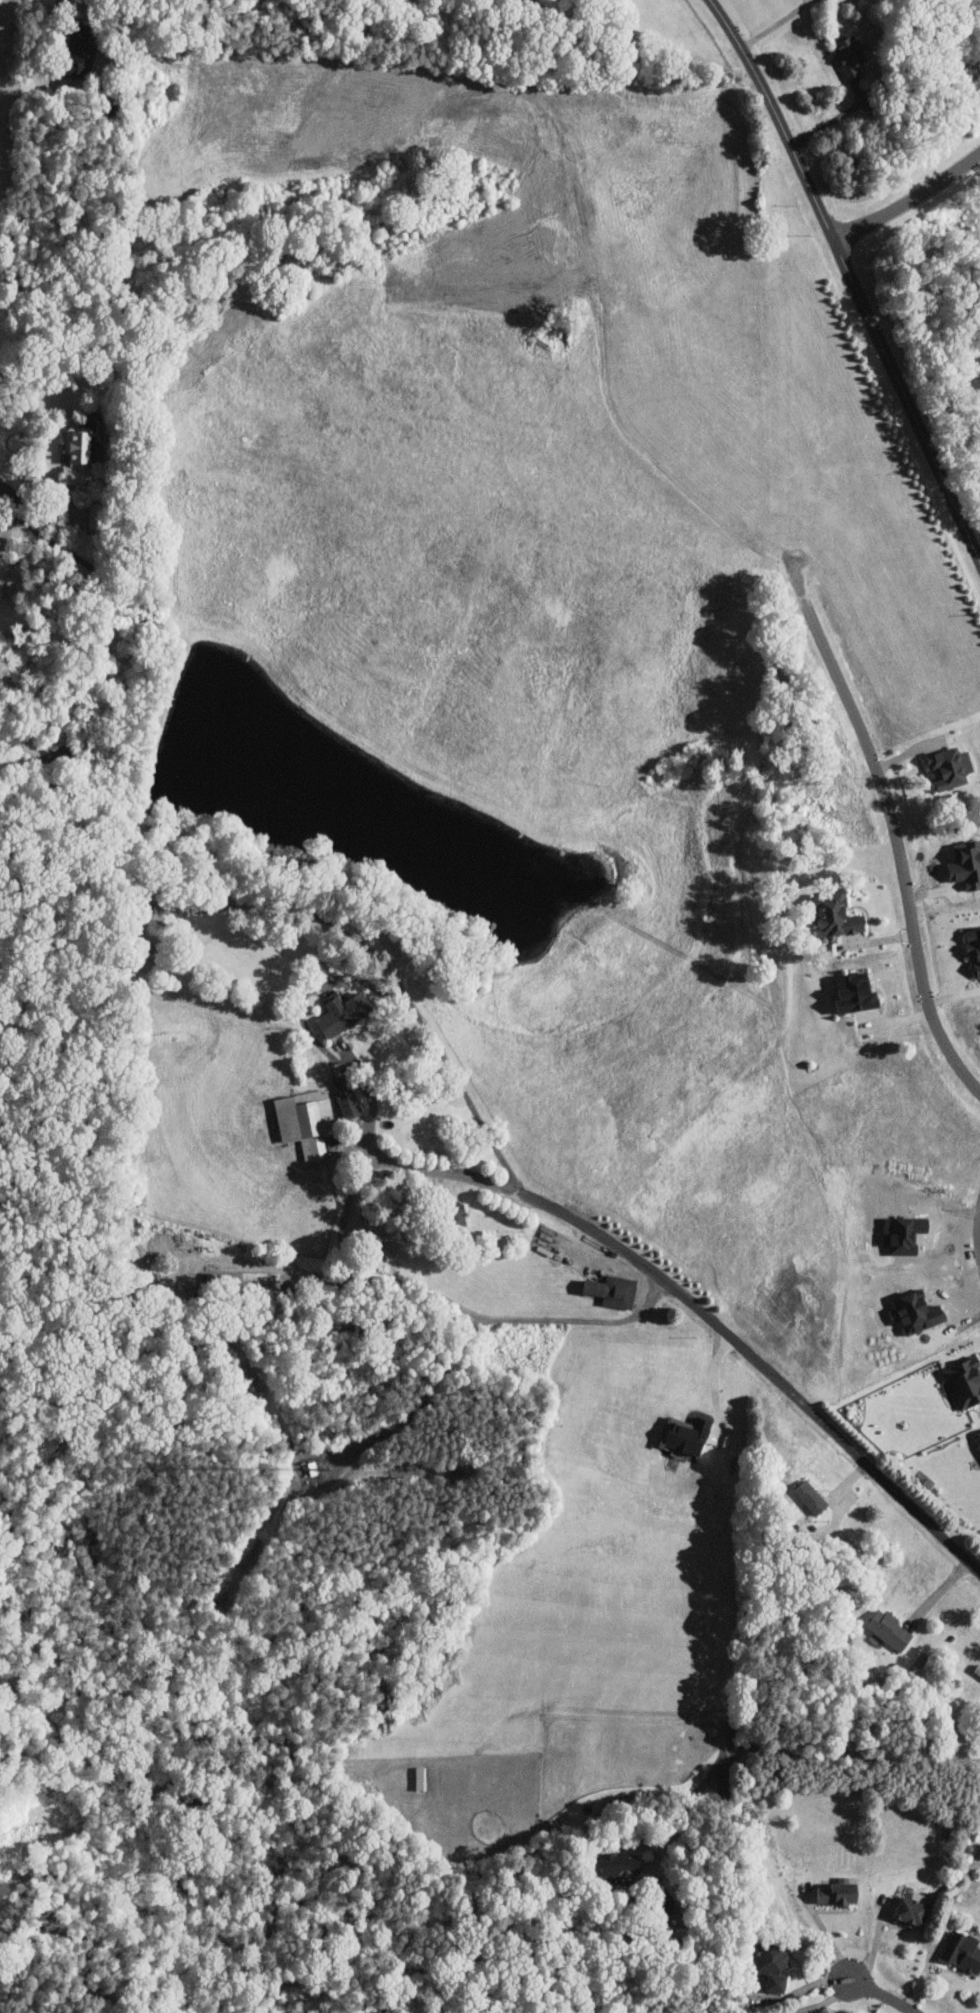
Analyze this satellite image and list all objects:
road: (72, 5)
road: (775, 24)
building: (76, 51)
building: (848, 56)
road: (835, 118)
road: (908, 201)
road: (850, 278)
building: (979, 365)
building: (77, 457)
building: (93, 516)
road: (3, 532)
road: (104, 638)
building: (949, 768)
road: (901, 855)
road: (301, 911)
building: (835, 916)
building: (143, 949)
building: (973, 949)
building: (855, 994)
building: (342, 1014)
road: (342, 1066)
building: (348, 1103)
building: (305, 1120)
road: (979, 1229)
building: (612, 1290)
road: (451, 1301)
building: (915, 1312)
road: (714, 1381)
building: (964, 1381)
road: (820, 1423)
building: (685, 1434)
building: (978, 1439)
building: (810, 1496)
building: (888, 1629)
road: (792, 1750)
building: (619, 1866)
building: (838, 1893)
building: (911, 1912)
road: (825, 1933)
road: (873, 1947)
building: (962, 1952)
building: (773, 1963)
road: (879, 1995)
road: (822, 2003)

